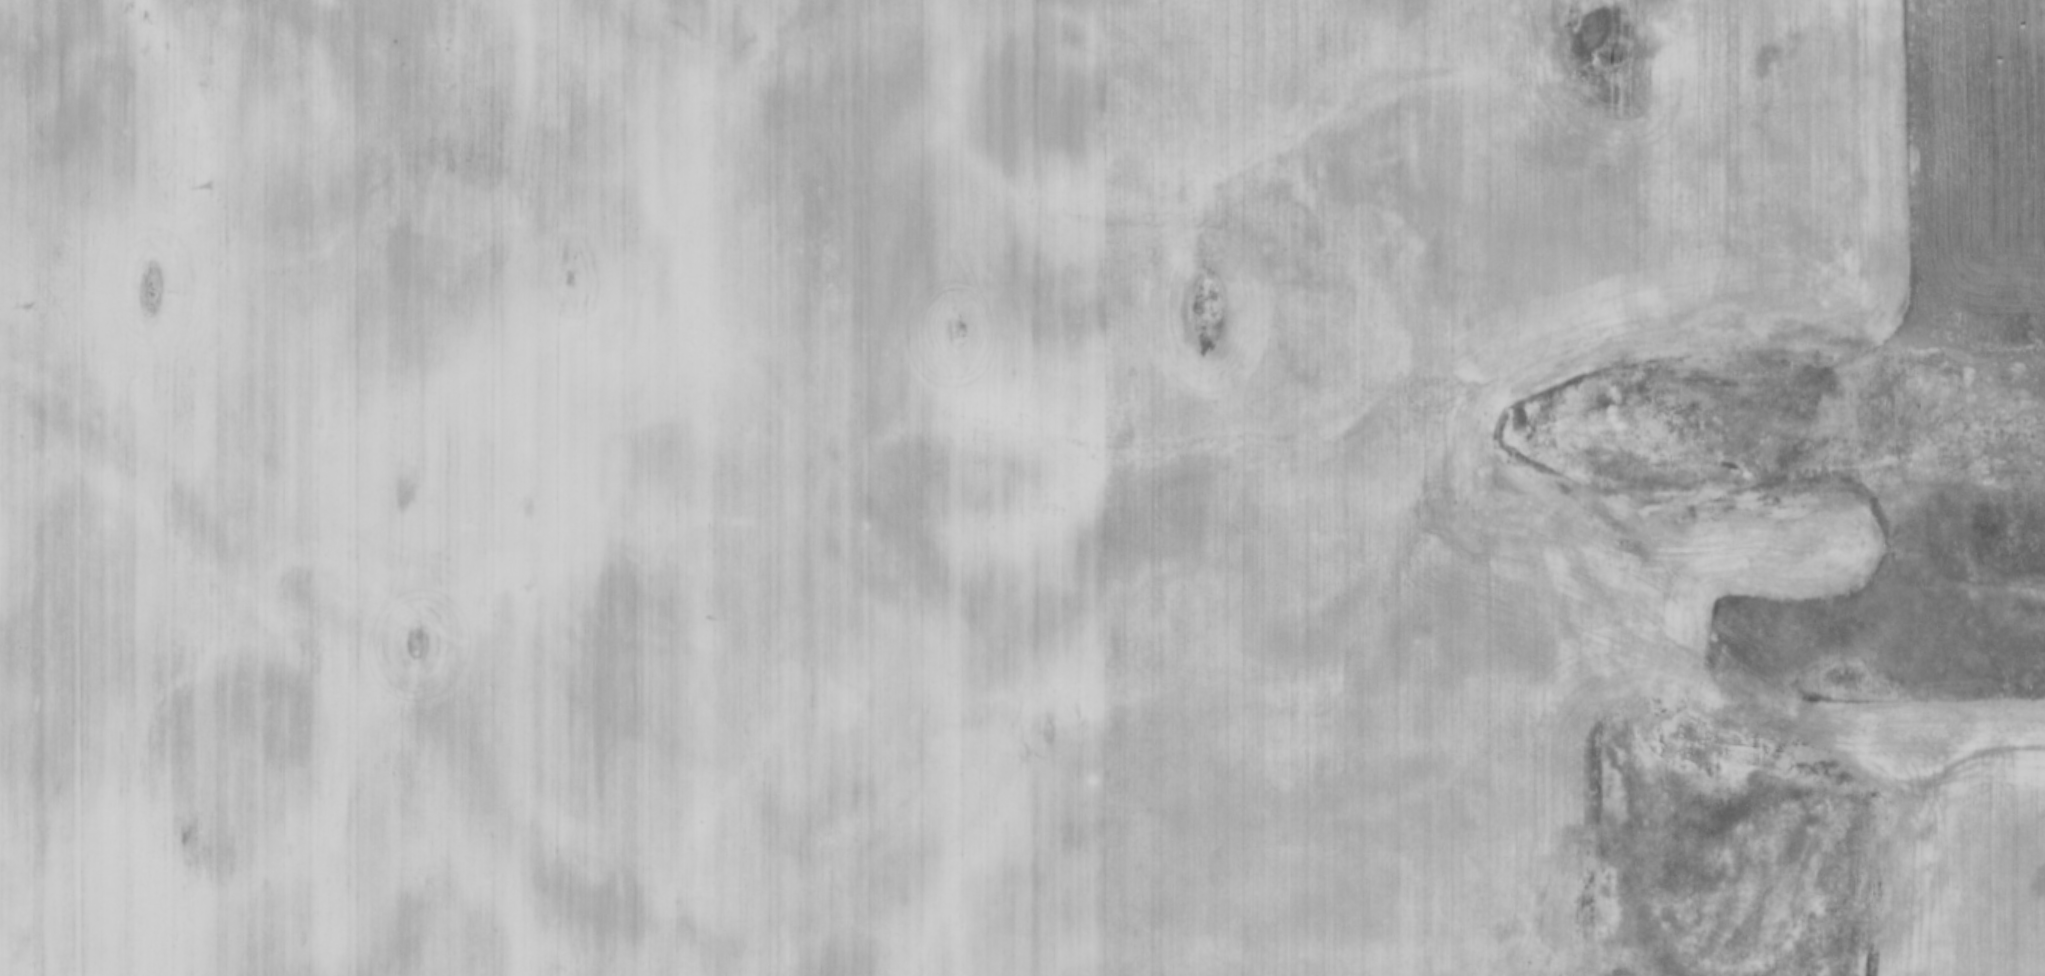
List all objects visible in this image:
road: (1120, 656)
road: (1181, 825)

